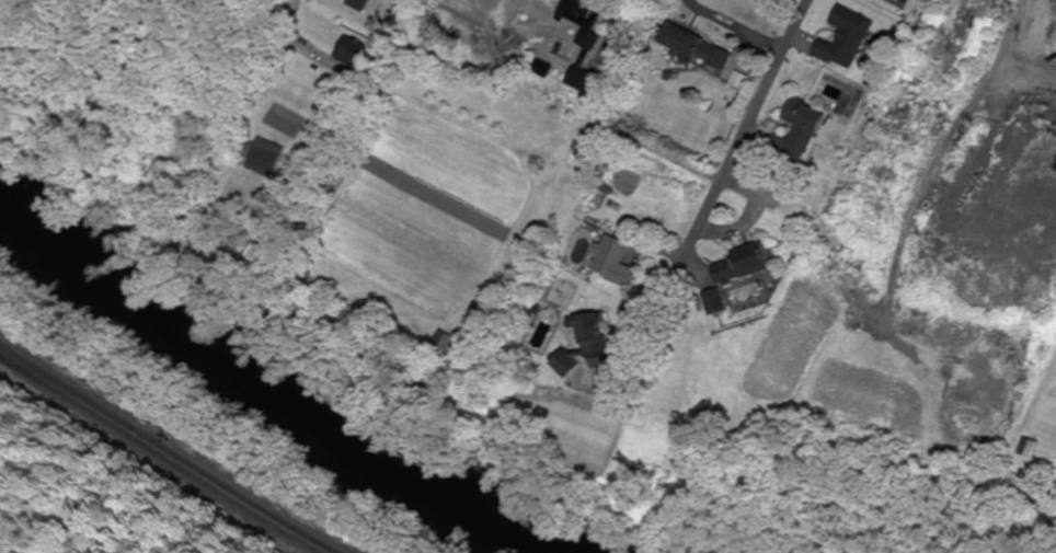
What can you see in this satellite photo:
building: (363, 5)
building: (849, 41)
building: (590, 47)
building: (701, 49)
building: (355, 54)
building: (547, 70)
road: (750, 127)
building: (807, 128)
building: (1025, 140)
building: (264, 157)
building: (618, 261)
building: (745, 264)
building: (720, 302)
building: (601, 341)
building: (448, 342)
building: (573, 362)
river: (271, 388)
building: (1035, 449)
railway: (156, 454)

